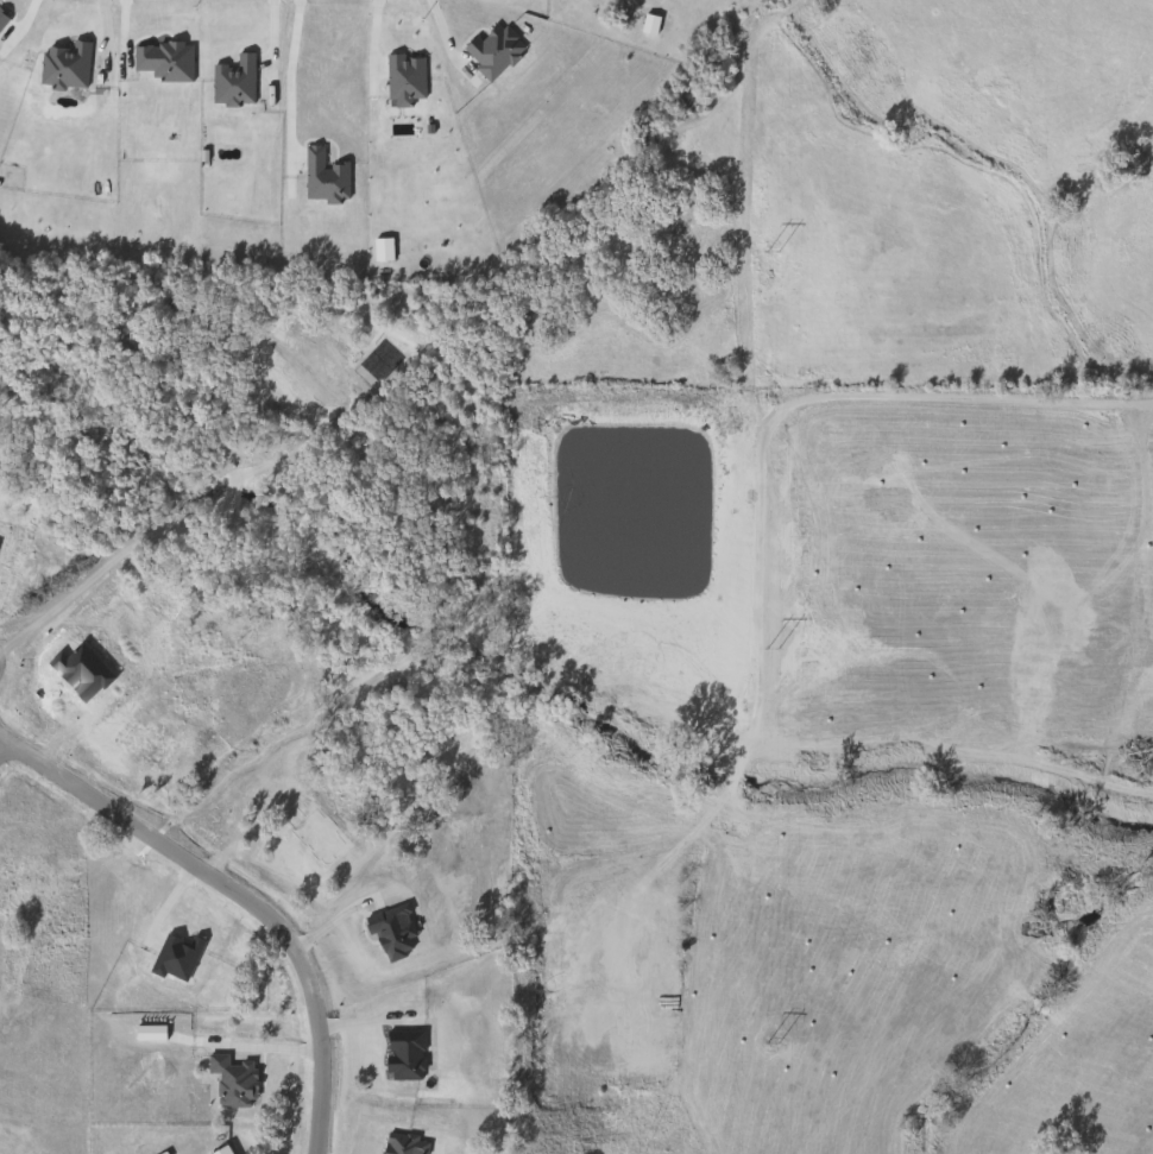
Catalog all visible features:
road: (288, 70)
power tower: (773, 252)
road: (779, 408)
power tower: (774, 649)
road: (4, 755)
road: (729, 781)
road: (663, 856)
road: (234, 895)
power tower: (773, 1043)

